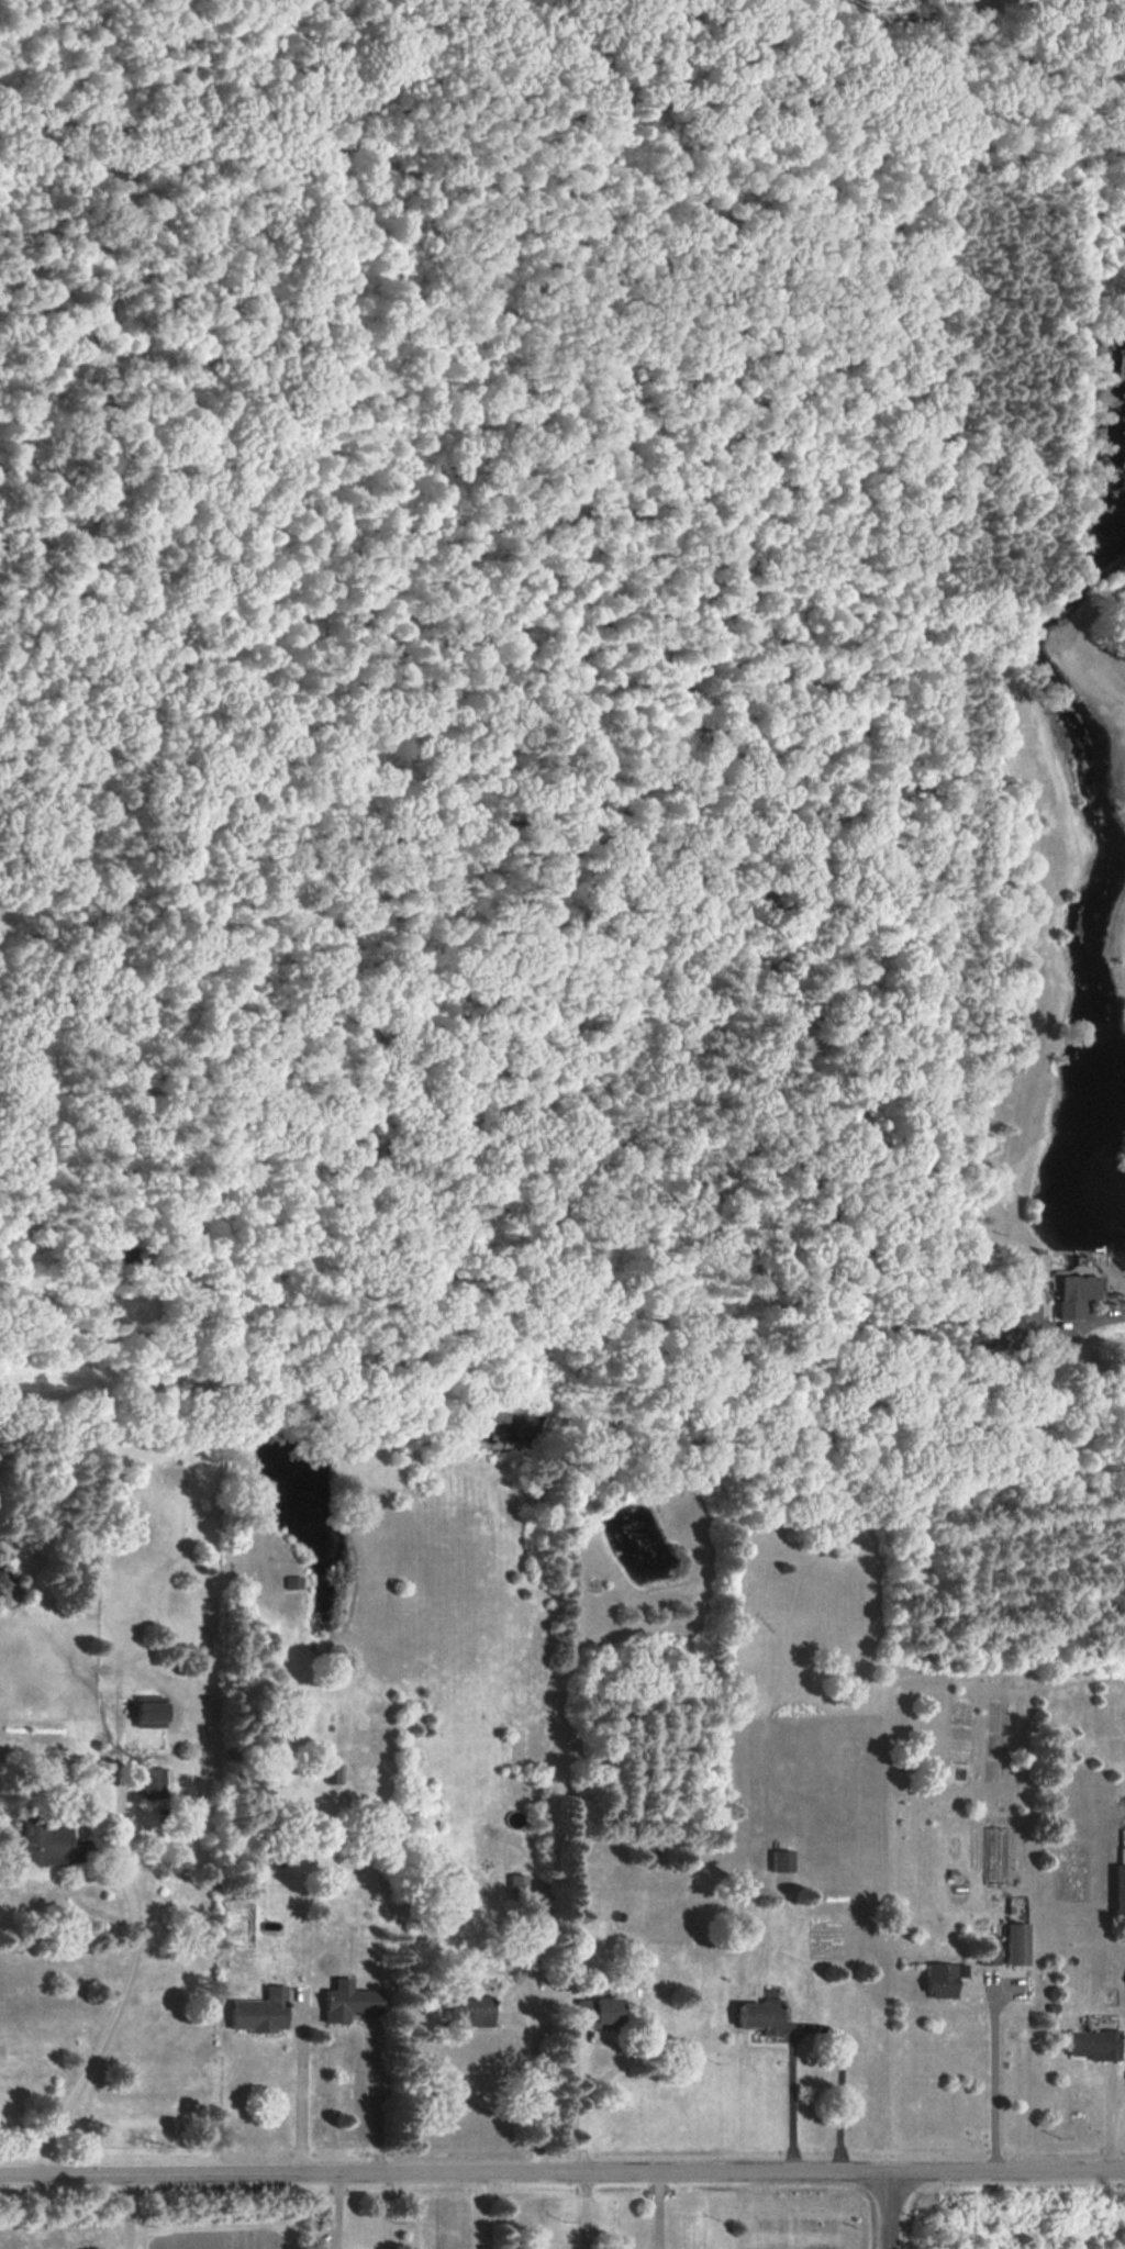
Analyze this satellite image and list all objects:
building: (1076, 1294)
road: (1069, 1354)
building: (153, 1782)
building: (51, 1844)
building: (998, 1846)
building: (782, 1860)
building: (1120, 1885)
building: (519, 1886)
building: (1016, 1944)
building: (990, 1953)
building: (943, 1979)
building: (349, 2001)
building: (471, 2011)
building: (260, 2012)
building: (599, 2012)
building: (761, 2016)
road: (112, 2017)
road: (812, 2026)
building: (1094, 2044)
road: (993, 2077)
road: (535, 2084)
road: (301, 2093)
road: (374, 2100)
road: (583, 2107)
road: (561, 2174)
road: (586, 2211)
road: (891, 2211)
road: (472, 2212)
road: (129, 2213)
road: (218, 2226)

